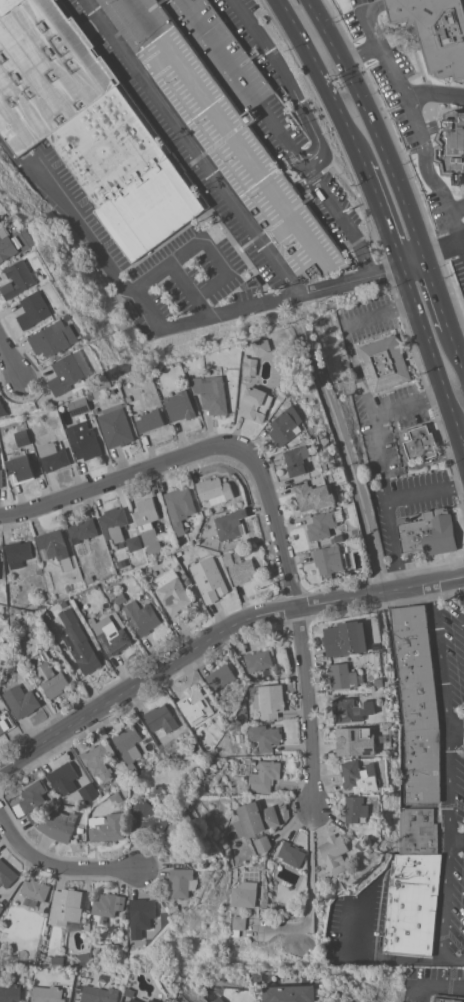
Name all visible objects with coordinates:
building: (6, 4)
building: (436, 31)
parking lot: (260, 45)
road: (319, 75)
road: (433, 93)
road: (302, 112)
building: (226, 117)
road: (372, 124)
building: (88, 125)
road: (414, 127)
building: (454, 145)
parking lot: (54, 185)
road: (228, 200)
road: (378, 209)
road: (456, 211)
road: (335, 215)
building: (0, 219)
building: (0, 224)
building: (8, 245)
road: (443, 250)
road: (213, 255)
building: (20, 279)
road: (126, 285)
road: (438, 298)
building: (37, 307)
road: (202, 308)
road: (377, 312)
building: (55, 338)
road: (426, 345)
building: (262, 346)
road: (459, 356)
road: (10, 358)
building: (383, 363)
building: (251, 365)
road: (358, 371)
building: (69, 373)
building: (212, 394)
building: (0, 399)
building: (256, 403)
road: (407, 403)
building: (79, 406)
building: (181, 408)
building: (0, 412)
building: (150, 420)
building: (285, 425)
building: (116, 426)
building: (23, 438)
building: (84, 440)
road: (459, 442)
building: (421, 443)
building: (53, 456)
road: (349, 458)
road: (379, 458)
building: (298, 459)
building: (21, 467)
building: (1, 477)
road: (110, 482)
building: (216, 490)
road: (424, 491)
building: (313, 496)
building: (180, 507)
building: (114, 523)
building: (148, 523)
building: (230, 524)
building: (322, 525)
building: (82, 530)
building: (429, 533)
building: (134, 543)
building: (54, 544)
road: (392, 544)
building: (18, 553)
building: (328, 560)
building: (243, 571)
building: (209, 579)
road: (462, 589)
building: (172, 592)
road: (296, 613)
building: (142, 617)
road: (216, 633)
building: (110, 635)
building: (347, 639)
building: (79, 642)
building: (258, 660)
building: (373, 660)
building: (415, 668)
building: (49, 676)
building: (342, 677)
building: (221, 679)
building: (21, 701)
building: (269, 701)
building: (195, 705)
building: (351, 710)
building: (161, 718)
building: (6, 722)
building: (265, 737)
building: (127, 741)
building: (356, 741)
building: (100, 760)
building: (422, 766)
building: (359, 775)
building: (264, 776)
building: (64, 778)
road: (449, 779)
building: (89, 792)
building: (33, 795)
building: (355, 808)
building: (35, 816)
building: (148, 817)
building: (256, 818)
building: (59, 825)
building: (109, 828)
building: (418, 831)
road: (456, 833)
building: (182, 835)
building: (262, 844)
building: (334, 850)
building: (292, 854)
road: (59, 867)
building: (6, 874)
building: (182, 882)
building: (36, 889)
building: (245, 894)
road: (310, 896)
building: (413, 903)
building: (106, 905)
building: (69, 906)
building: (1, 908)
building: (141, 913)
building: (239, 922)
building: (83, 960)
road: (426, 985)
road: (457, 985)
building: (10, 993)
building: (290, 993)
building: (47, 994)
building: (98, 994)
building: (131, 994)
building: (447, 998)
building: (219, 999)
building: (153, 1000)
building: (348, 1001)

